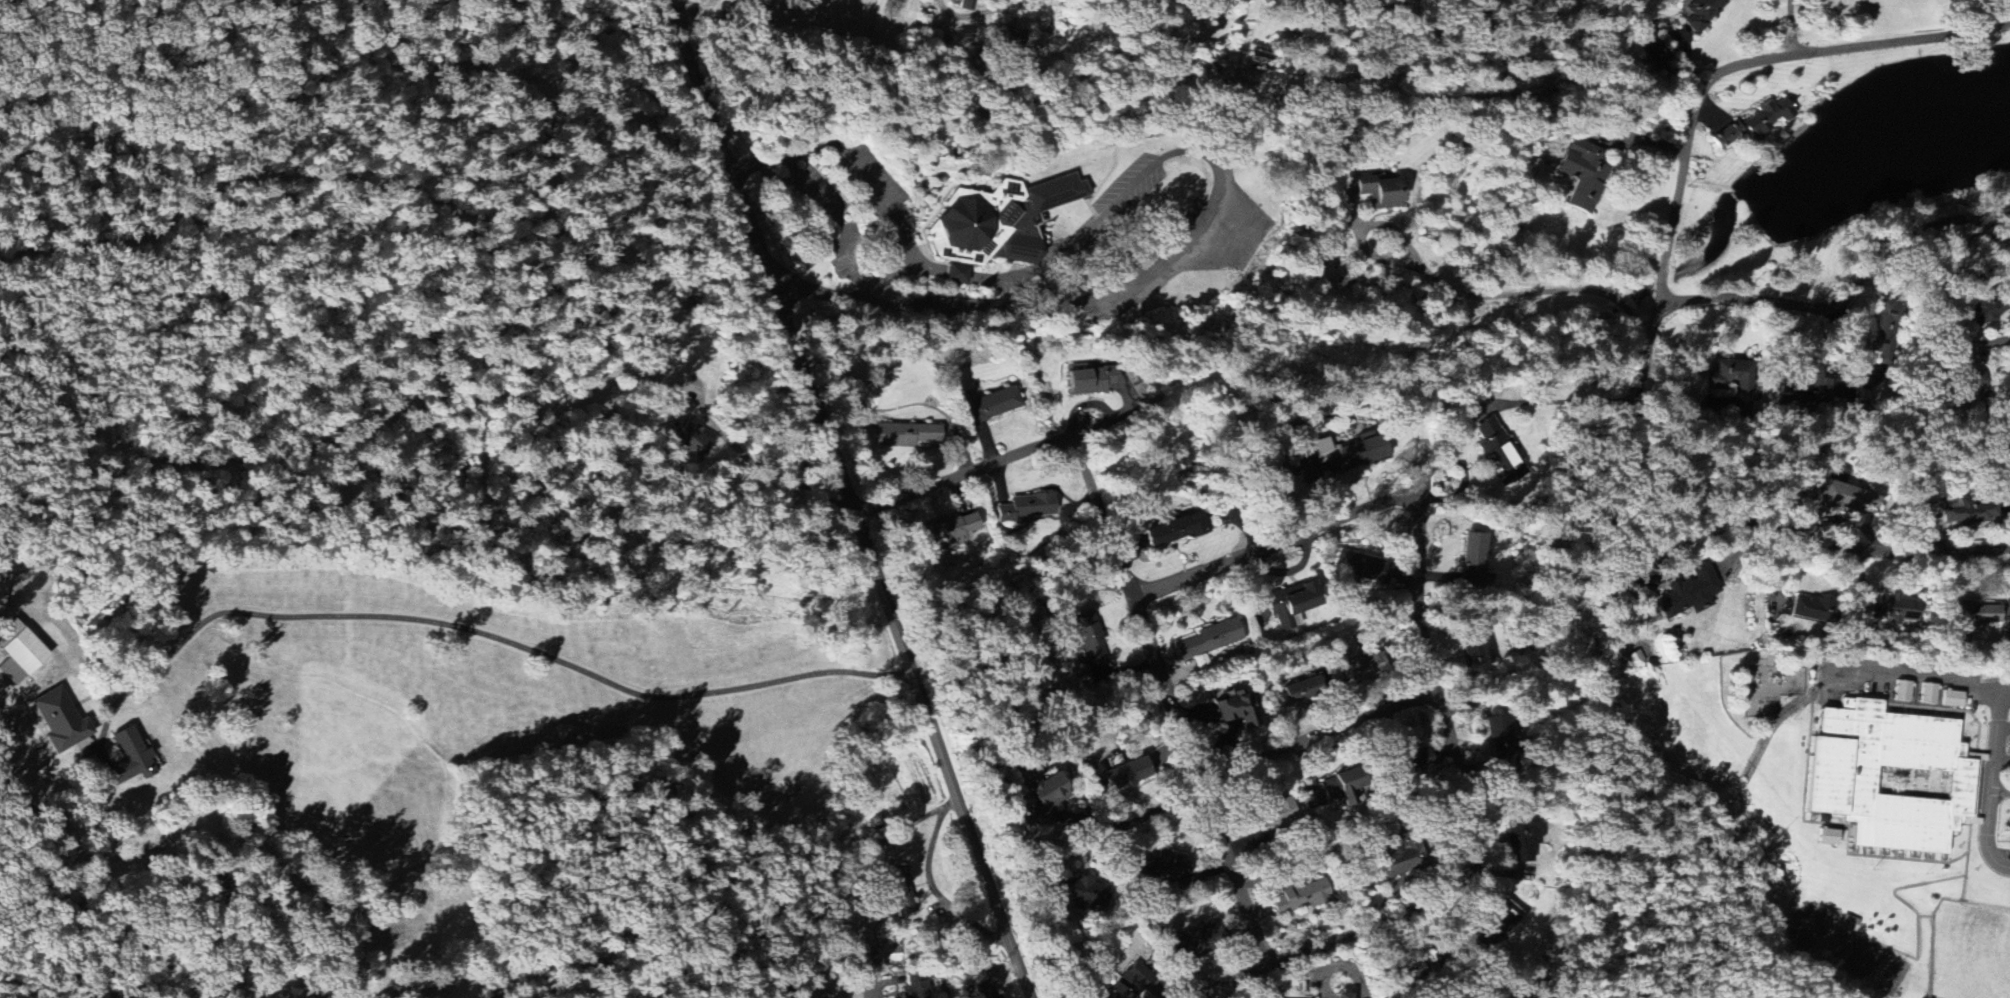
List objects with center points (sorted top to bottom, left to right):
road: (1992, 6)
building: (1702, 13)
road: (989, 14)
road: (700, 16)
road: (1513, 22)
road: (1638, 24)
road: (1790, 29)
building: (1010, 39)
road: (1733, 69)
building: (1767, 119)
building: (1727, 136)
road: (850, 156)
building: (1585, 175)
building: (1380, 193)
building: (1001, 221)
road: (1096, 221)
road: (838, 226)
road: (932, 268)
road: (892, 276)
road: (958, 276)
road: (1452, 291)
road: (1009, 298)
road: (1839, 303)
road: (1036, 317)
building: (1884, 329)
building: (1091, 379)
building: (1734, 382)
building: (1972, 384)
building: (1811, 386)
building: (993, 406)
building: (906, 435)
building: (689, 439)
building: (1350, 453)
building: (2007, 458)
building: (1500, 460)
road: (759, 467)
road: (964, 476)
building: (1841, 497)
road: (850, 499)
building: (1025, 508)
building: (1968, 512)
building: (1175, 530)
building: (949, 531)
road: (1704, 531)
road: (1275, 544)
building: (1473, 562)
building: (1363, 568)
building: (3, 589)
building: (1689, 594)
building: (1293, 604)
building: (1812, 610)
building: (1971, 617)
road: (516, 641)
building: (1086, 641)
building: (1207, 641)
building: (18, 653)
building: (1474, 656)
building: (1634, 660)
building: (1359, 663)
building: (1903, 692)
building: (1296, 694)
building: (1928, 695)
road: (1173, 699)
building: (1952, 699)
building: (1236, 710)
building: (59, 721)
road: (2003, 726)
building: (1498, 736)
road: (2002, 759)
building: (127, 760)
building: (1415, 761)
road: (1458, 769)
road: (1246, 774)
building: (1126, 776)
road: (1992, 782)
building: (1839, 785)
building: (1344, 788)
road: (2000, 792)
building: (1046, 798)
building: (1278, 814)
road: (902, 831)
building: (1520, 837)
building: (1828, 838)
building: (1393, 864)
building: (1161, 870)
road: (931, 885)
building: (900, 893)
building: (1300, 898)
building: (1850, 924)
building: (1498, 925)
building: (1195, 942)
road: (280, 946)
road: (1346, 966)
building: (1409, 971)
building: (1129, 983)
road: (390, 985)
building: (914, 987)
building: (983, 990)
road: (872, 995)
building: (1344, 995)

